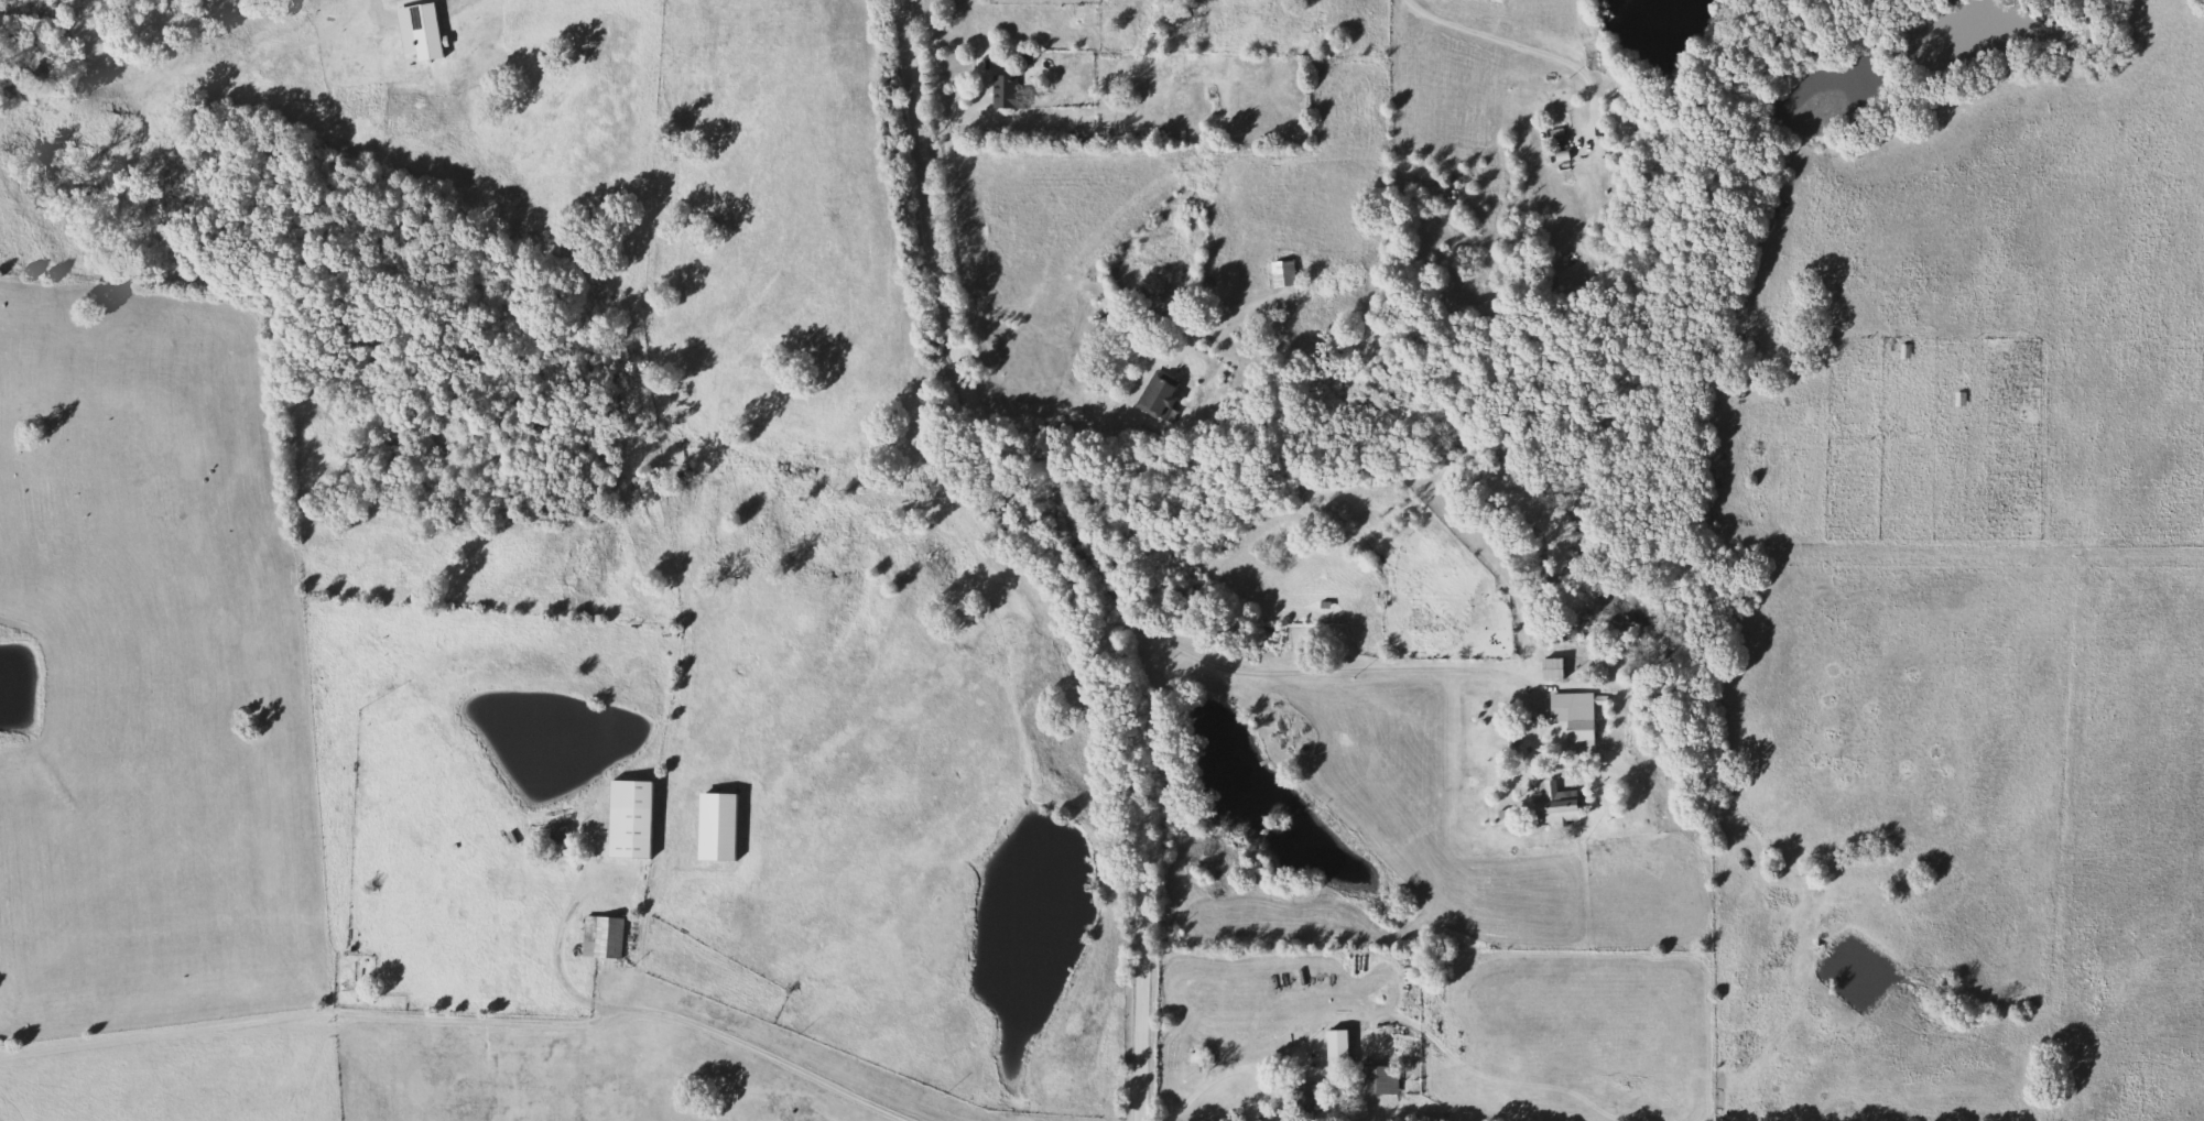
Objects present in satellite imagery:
road: (1520, 45)
building: (1001, 90)
building: (1277, 273)
building: (1150, 394)
road: (1053, 428)
road: (1056, 555)
road: (788, 586)
building: (1546, 668)
road: (1306, 672)
building: (1571, 718)
building: (1551, 804)
building: (640, 818)
building: (563, 835)
building: (607, 936)
road: (560, 966)
road: (465, 1021)
building: (1332, 1048)
building: (1199, 1056)
road: (1213, 1077)
building: (1372, 1078)

